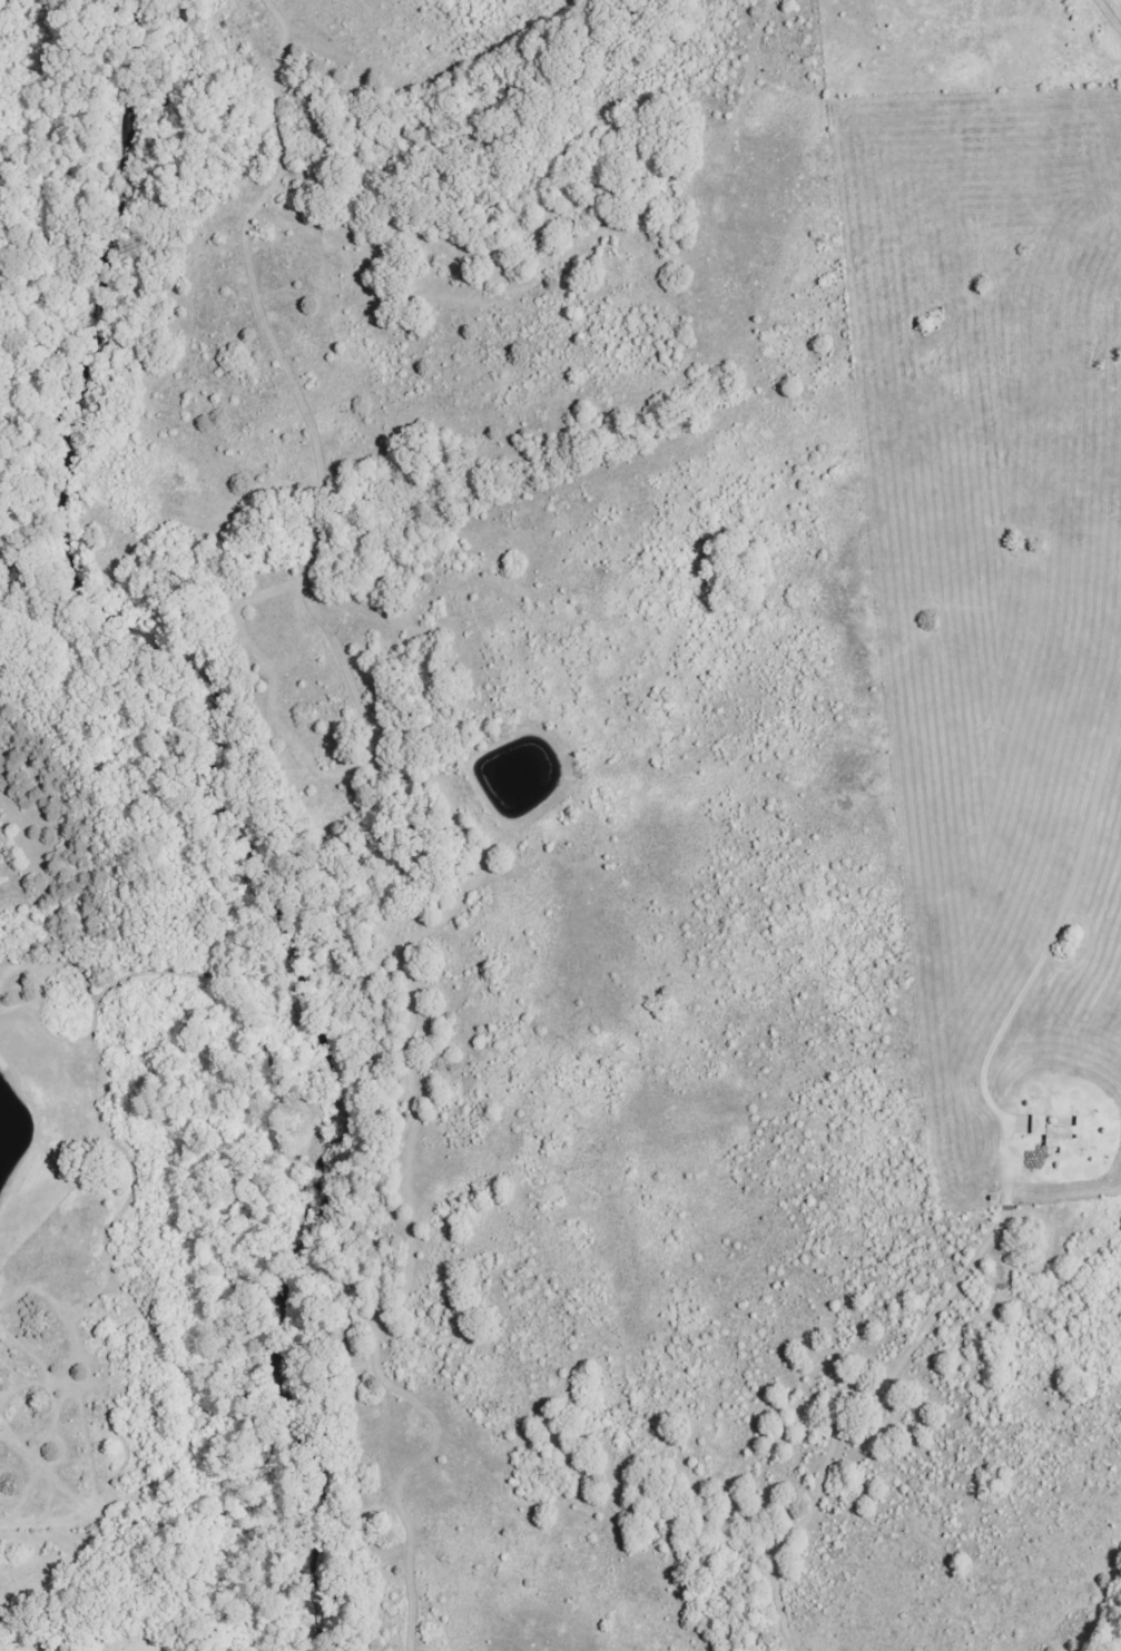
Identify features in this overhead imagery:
building: (1066, 1134)

